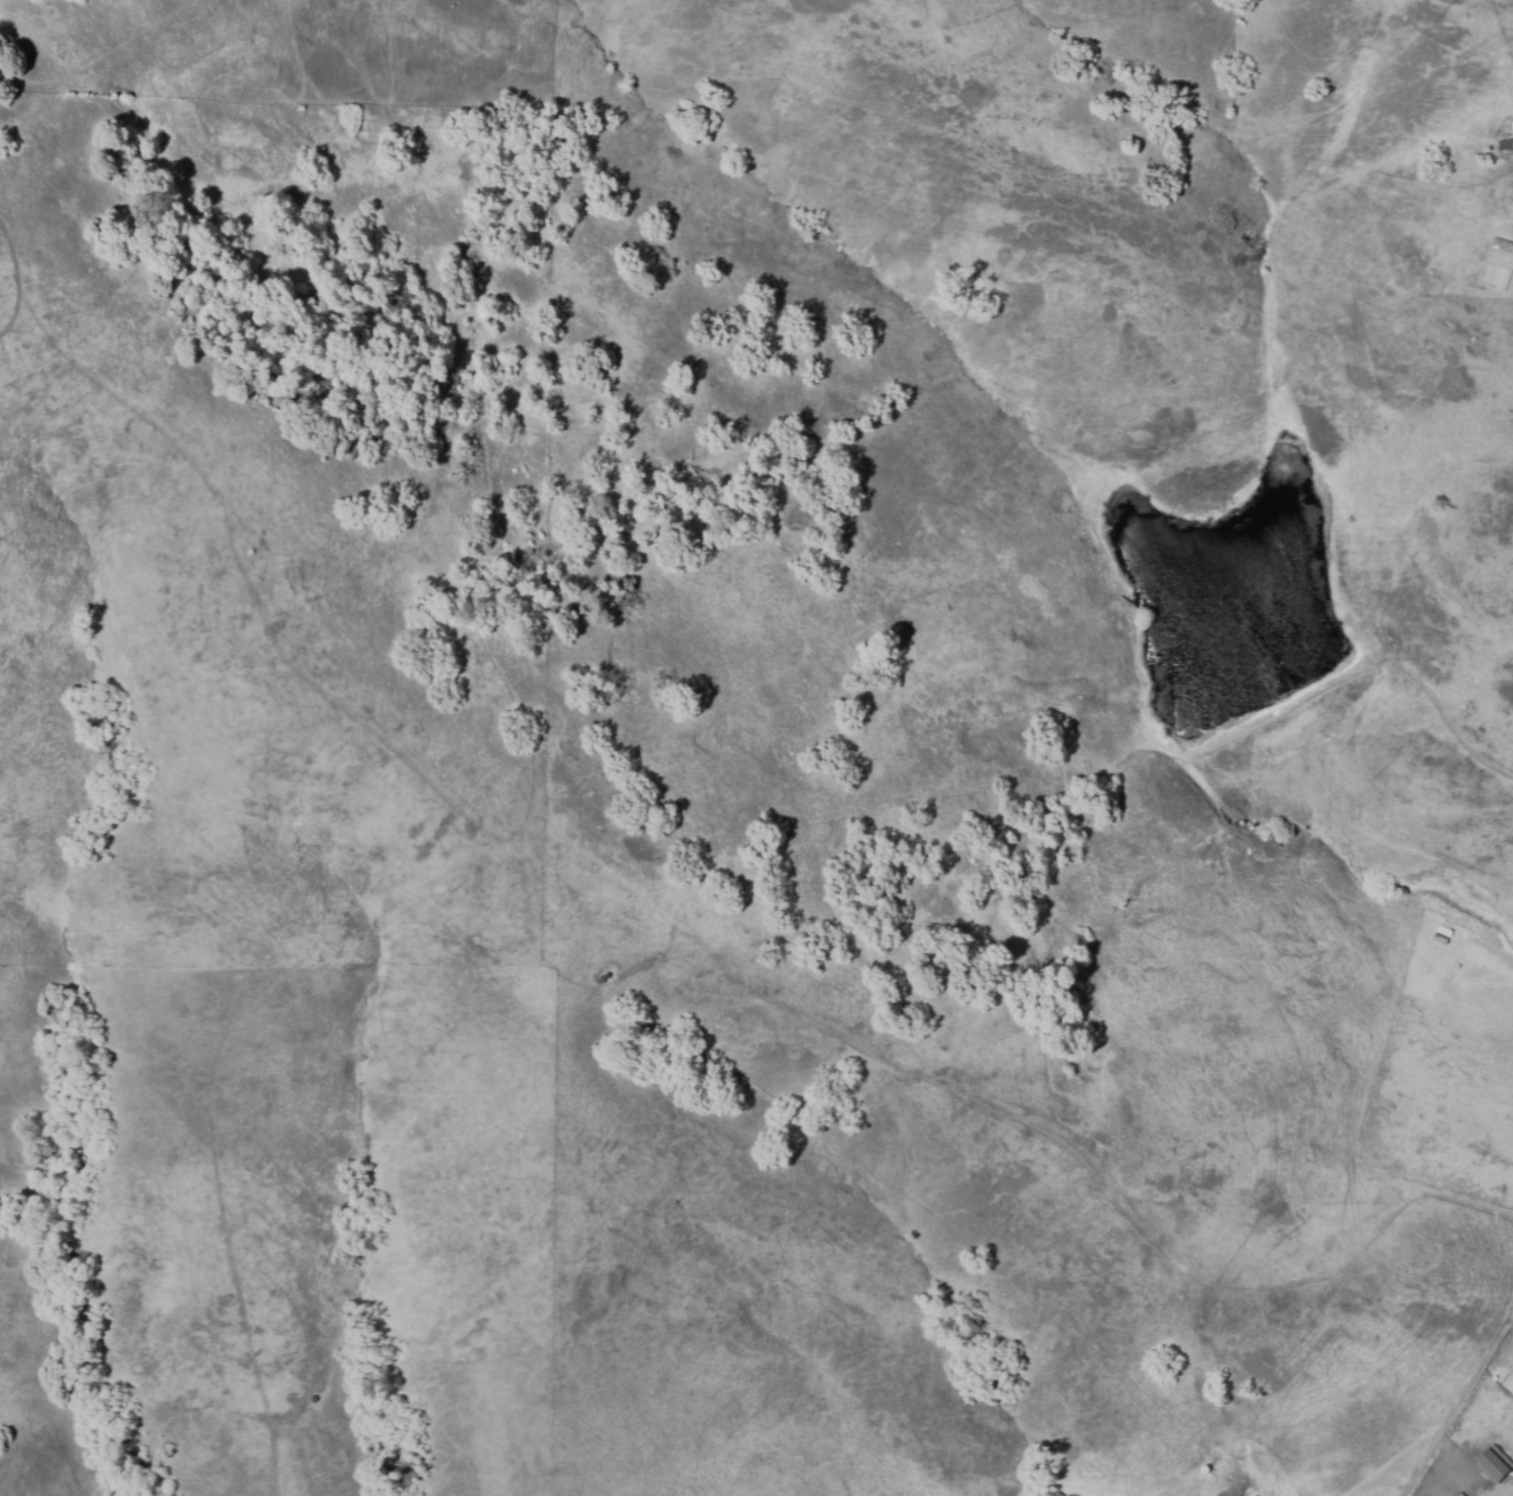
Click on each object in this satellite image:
building: (1492, 1464)
building: (1457, 1495)

